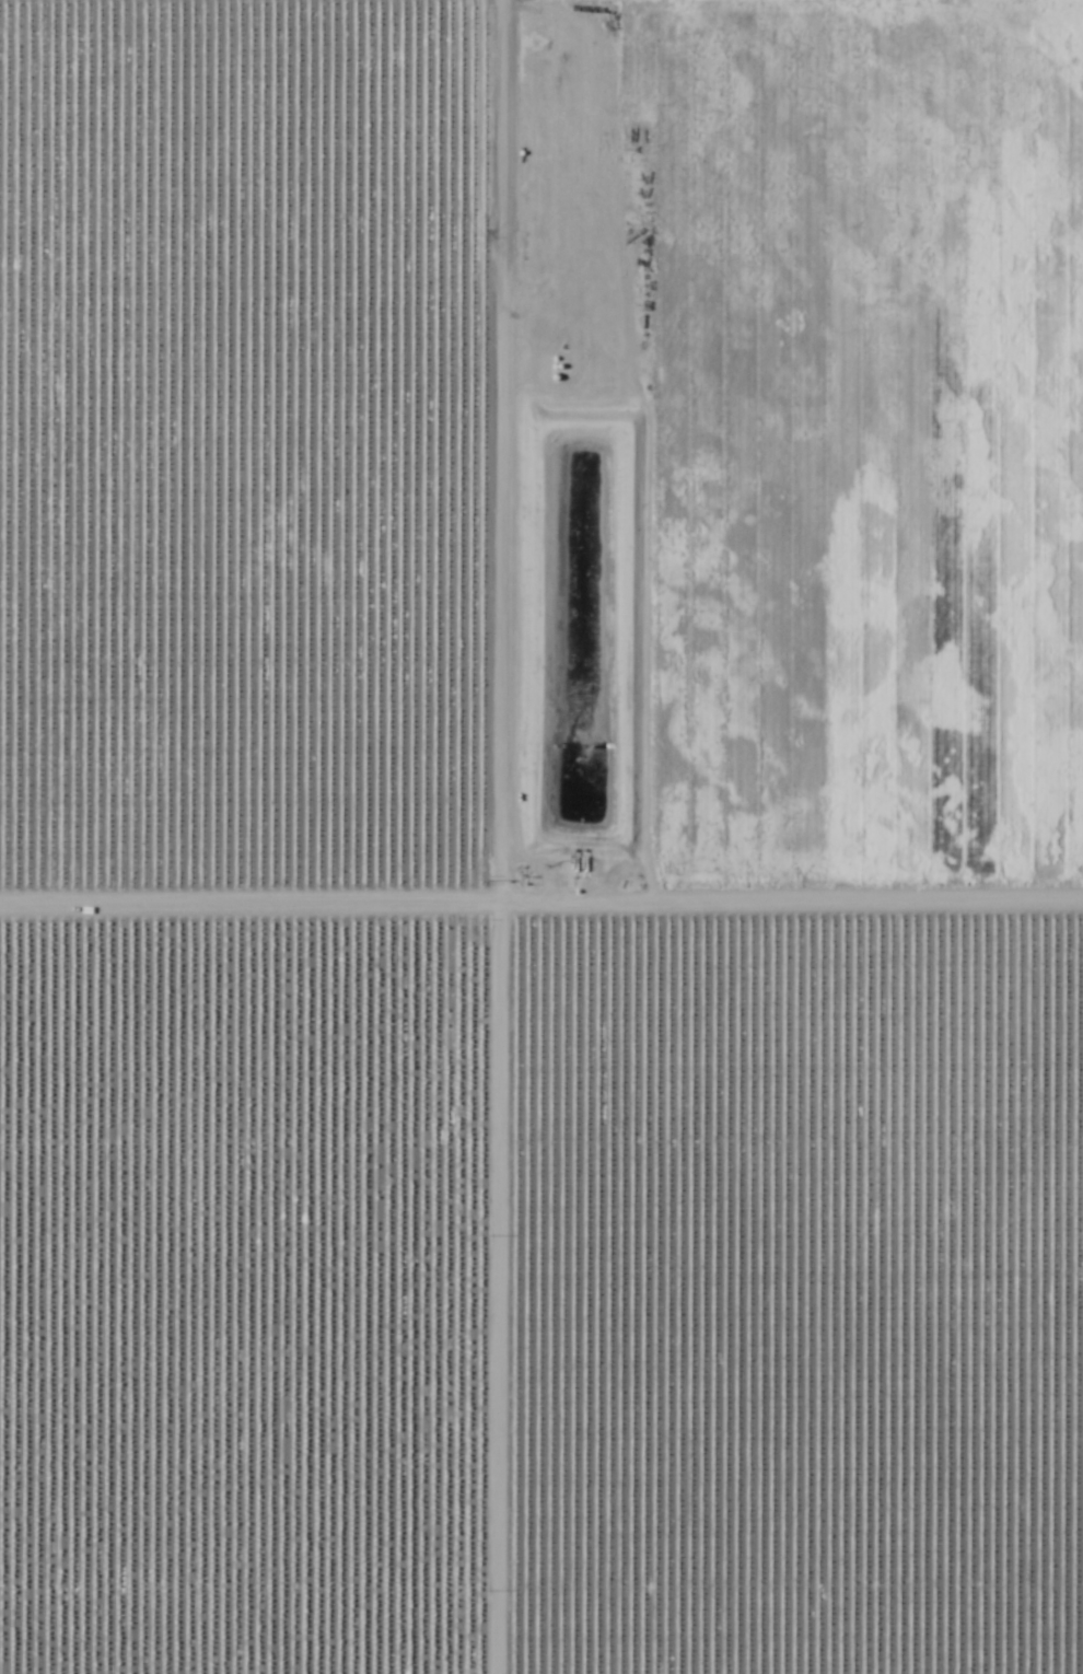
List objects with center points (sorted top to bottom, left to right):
road: (500, 837)
road: (540, 888)

